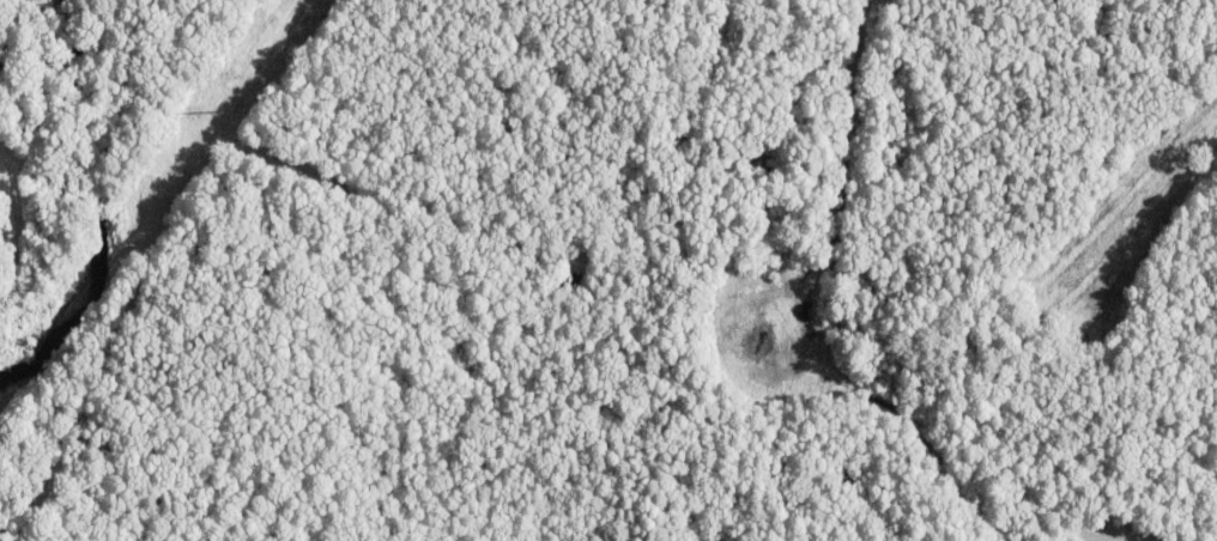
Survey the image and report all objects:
power tower: (214, 107)

